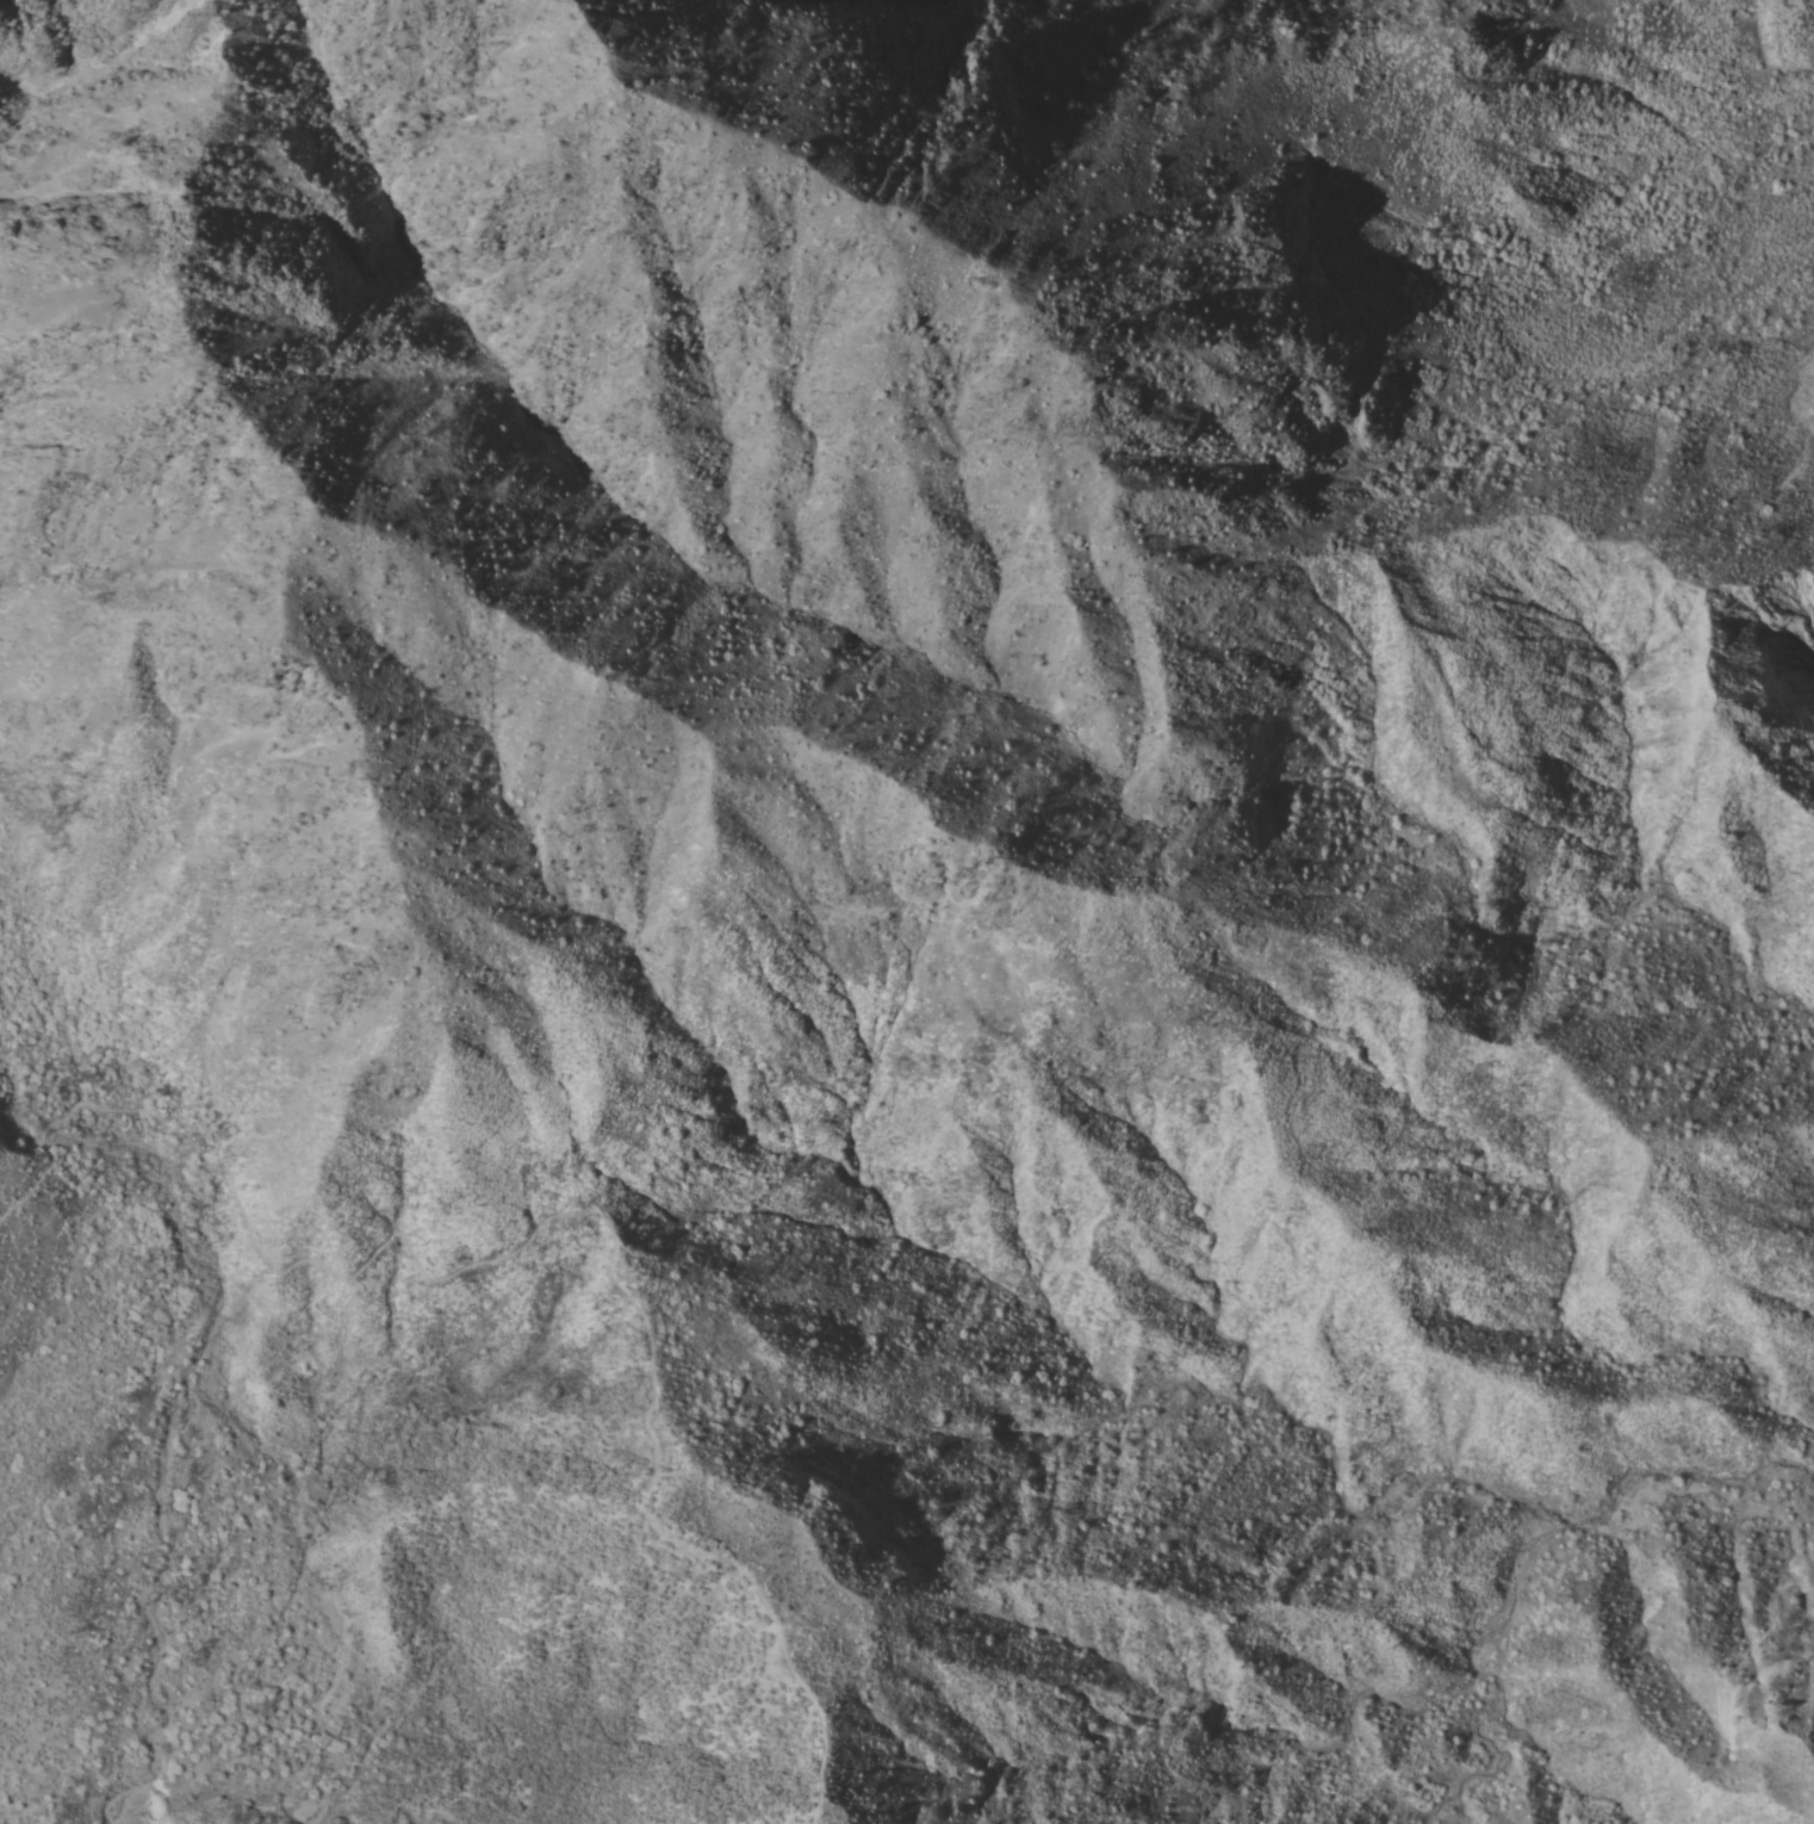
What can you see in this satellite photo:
road: (543, 1218)

